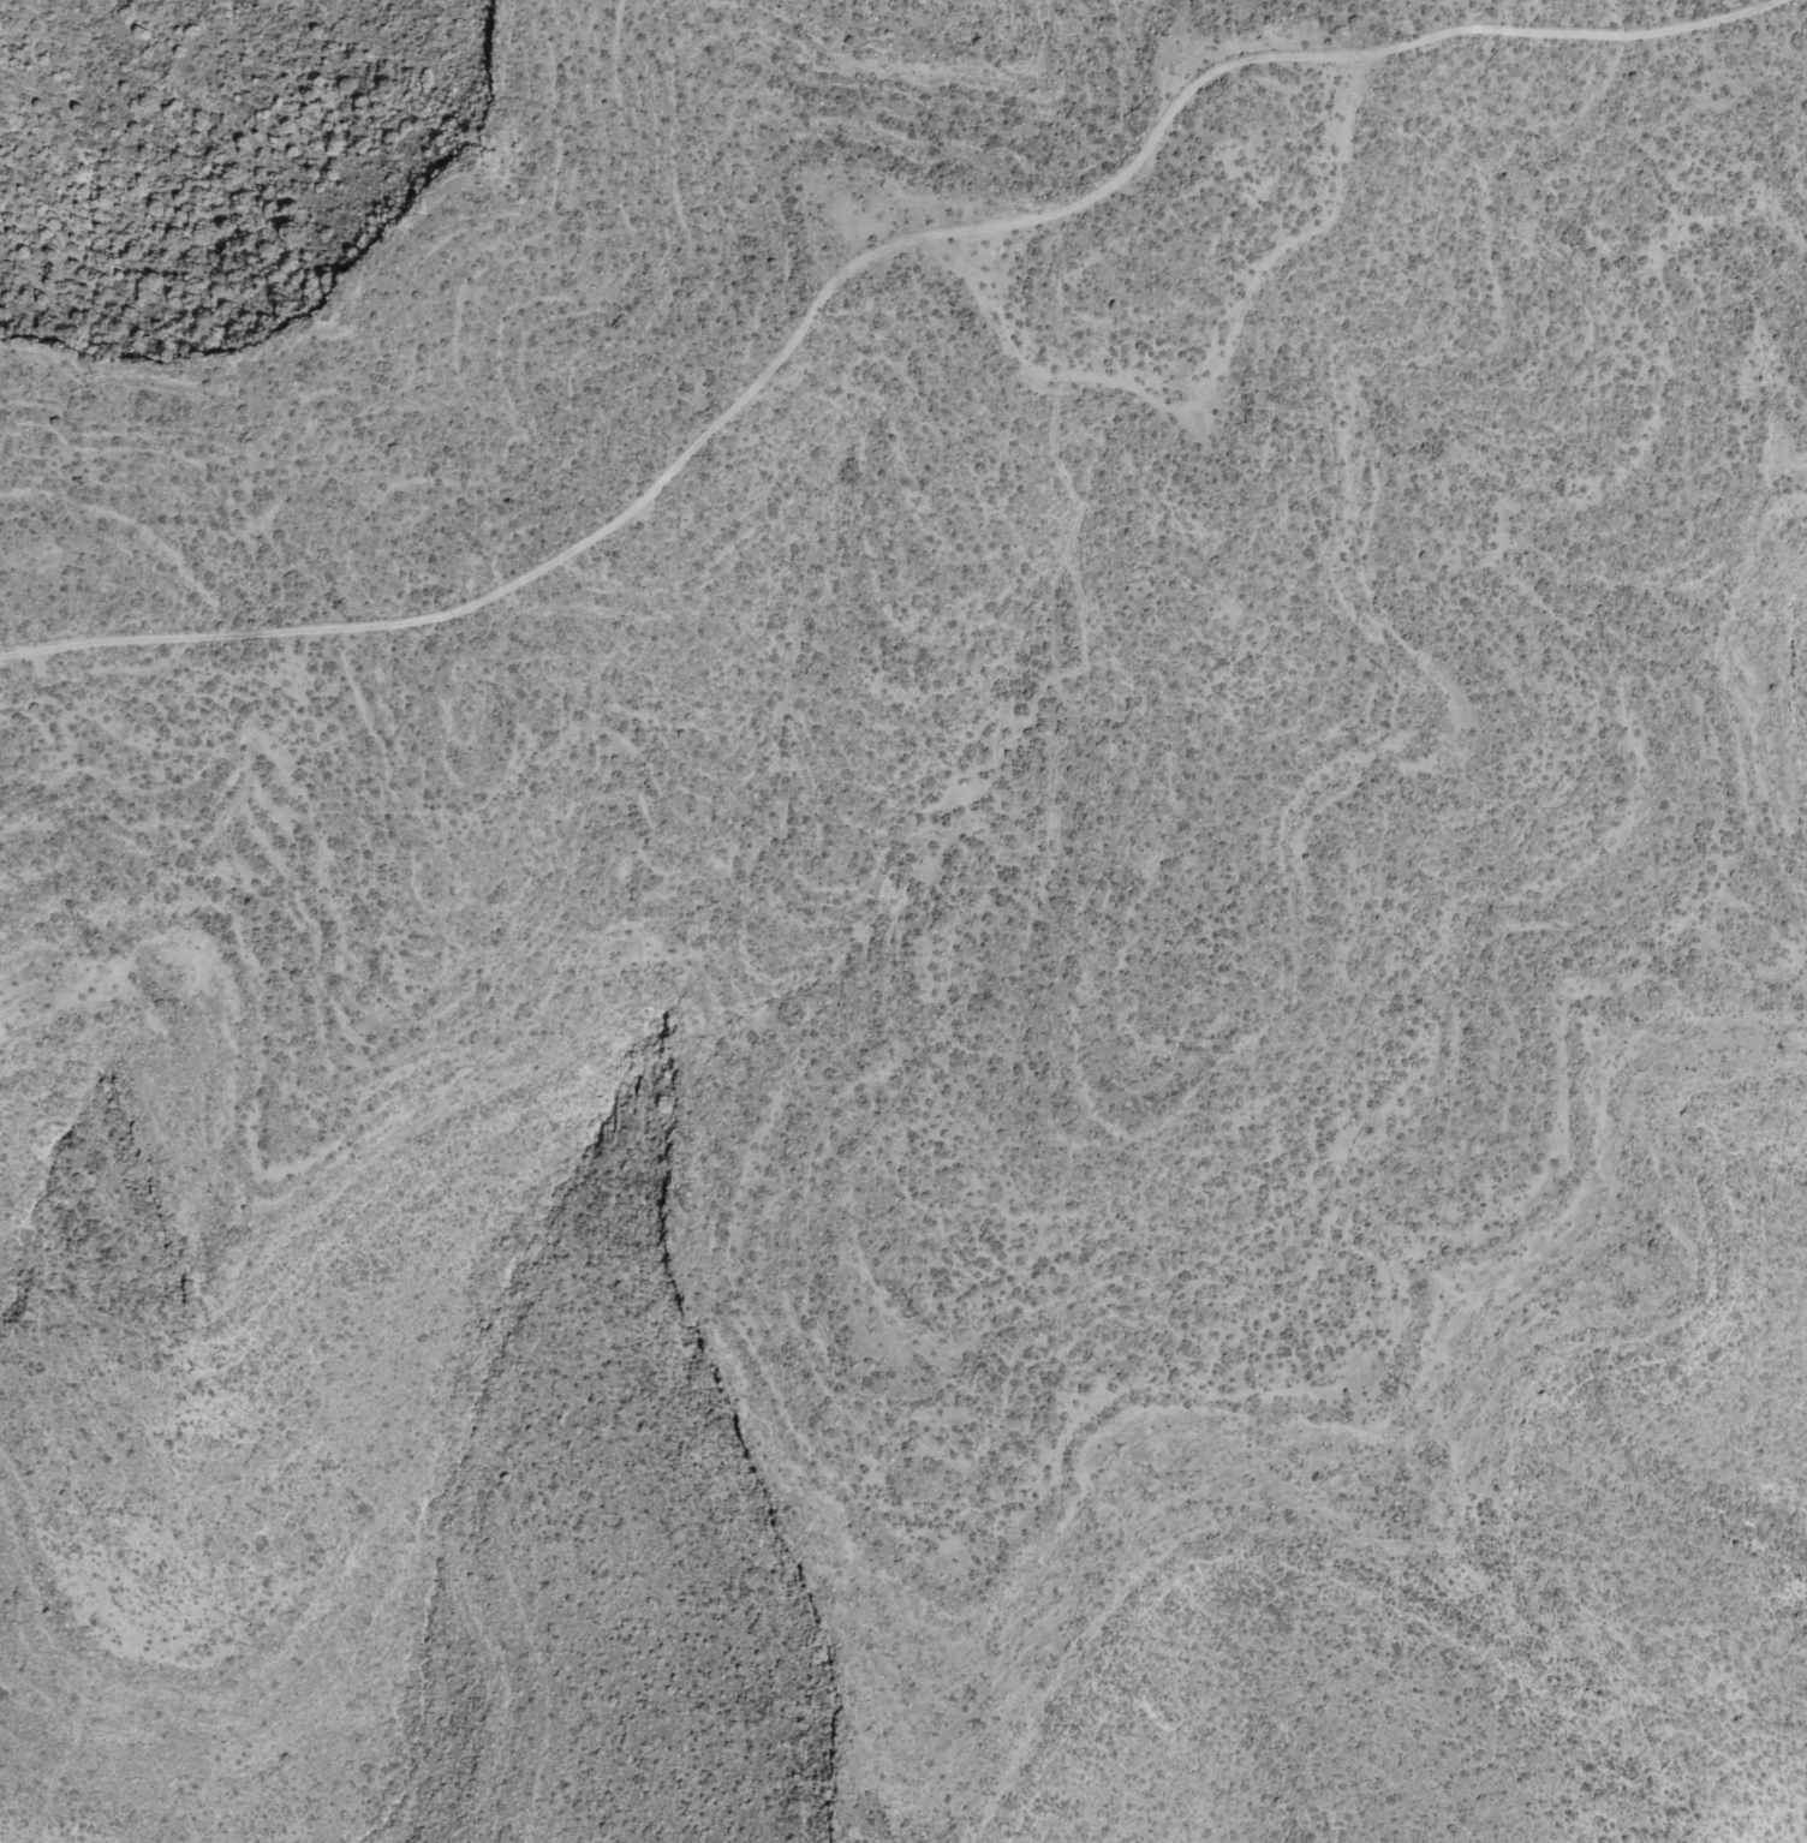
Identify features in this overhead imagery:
road: (860, 299)

